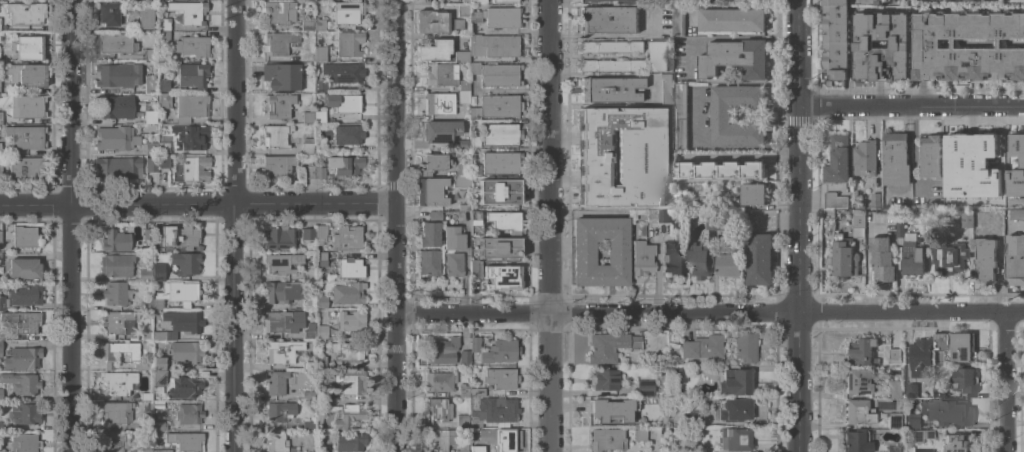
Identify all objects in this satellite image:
building: (504, 0)
building: (1009, 0)
building: (474, 1)
building: (463, 9)
building: (190, 11)
building: (279, 11)
building: (348, 11)
building: (26, 12)
building: (110, 13)
building: (498, 16)
building: (146, 17)
building: (609, 18)
building: (679, 19)
building: (732, 19)
building: (435, 21)
building: (164, 23)
building: (307, 23)
building: (320, 24)
building: (0, 27)
building: (164, 36)
building: (835, 39)
building: (114, 42)
building: (279, 42)
building: (349, 43)
building: (863, 43)
building: (192, 45)
building: (494, 45)
building: (967, 45)
building: (29, 46)
building: (611, 46)
building: (434, 49)
building: (321, 53)
building: (151, 54)
building: (658, 55)
building: (461, 56)
building: (735, 57)
building: (305, 58)
building: (613, 64)
building: (475, 67)
building: (343, 71)
building: (27, 74)
building: (119, 74)
building: (193, 74)
building: (442, 74)
building: (500, 74)
building: (282, 76)
building: (150, 83)
building: (164, 84)
building: (321, 85)
building: (666, 88)
building: (611, 89)
building: (463, 91)
building: (165, 100)
building: (343, 102)
building: (441, 102)
building: (27, 105)
building: (280, 105)
building: (500, 105)
road: (910, 105)
building: (115, 106)
building: (191, 107)
building: (475, 112)
building: (721, 114)
building: (680, 115)
building: (150, 116)
building: (320, 116)
building: (1, 117)
building: (309, 117)
building: (667, 117)
building: (587, 118)
building: (614, 118)
building: (442, 131)
building: (641, 132)
building: (501, 133)
building: (348, 134)
building: (276, 135)
building: (26, 136)
building: (190, 136)
building: (116, 137)
building: (475, 138)
building: (462, 143)
building: (307, 145)
building: (587, 145)
building: (614, 145)
building: (151, 147)
building: (164, 147)
road: (720, 147)
building: (0, 148)
building: (320, 148)
building: (1016, 155)
building: (929, 156)
building: (865, 157)
building: (896, 158)
building: (838, 160)
building: (955, 160)
building: (986, 160)
building: (164, 162)
building: (500, 162)
building: (433, 163)
building: (152, 164)
building: (742, 164)
building: (278, 165)
building: (119, 166)
building: (346, 166)
building: (600, 167)
building: (192, 168)
building: (28, 169)
building: (463, 169)
building: (475, 169)
building: (0, 170)
building: (308, 171)
building: (320, 172)
building: (460, 181)
building: (475, 181)
building: (637, 181)
building: (666, 182)
building: (500, 190)
building: (431, 191)
building: (753, 193)
building: (600, 195)
building: (989, 197)
building: (875, 198)
building: (834, 199)
building: (967, 199)
building: (708, 202)
road: (197, 203)
building: (464, 206)
building: (1017, 213)
building: (435, 215)
building: (653, 215)
building: (665, 215)
building: (967, 219)
building: (494, 220)
building: (979, 221)
building: (859, 222)
road: (70, 225)
road: (233, 225)
road: (395, 225)
road: (797, 225)
road: (548, 226)
building: (901, 227)
building: (148, 233)
building: (308, 233)
building: (320, 233)
building: (429, 233)
building: (186, 235)
building: (0, 236)
building: (25, 236)
building: (680, 236)
building: (280, 237)
building: (347, 237)
building: (116, 240)
building: (159, 245)
building: (501, 245)
building: (449, 251)
building: (584, 252)
building: (674, 256)
building: (845, 256)
building: (950, 256)
building: (0, 257)
building: (642, 257)
building: (320, 258)
building: (759, 258)
building: (883, 258)
building: (913, 258)
building: (730, 259)
building: (987, 259)
building: (699, 260)
building: (1015, 260)
building: (186, 262)
building: (281, 262)
building: (429, 262)
building: (116, 264)
building: (350, 267)
building: (24, 268)
building: (475, 268)
building: (308, 272)
building: (145, 274)
building: (159, 274)
building: (503, 276)
building: (281, 291)
building: (116, 292)
building: (348, 292)
building: (24, 293)
building: (176, 293)
building: (3, 301)
building: (321, 301)
building: (308, 302)
building: (146, 304)
road: (709, 311)
building: (22, 320)
building: (283, 320)
building: (351, 320)
building: (184, 321)
building: (118, 323)
building: (309, 330)
building: (321, 331)
building: (2, 333)
building: (164, 334)
building: (146, 335)
building: (474, 343)
building: (610, 345)
building: (745, 346)
building: (961, 346)
building: (1, 348)
building: (702, 348)
building: (187, 350)
building: (281, 350)
building: (348, 350)
building: (443, 350)
building: (500, 351)
building: (861, 351)
building: (107, 355)
building: (896, 355)
building: (464, 356)
building: (23, 357)
building: (321, 361)
building: (158, 363)
building: (143, 365)
building: (308, 365)
building: (918, 365)
building: (678, 372)
building: (159, 377)
building: (502, 377)
building: (604, 379)
building: (860, 379)
building: (965, 379)
building: (351, 381)
building: (440, 381)
building: (734, 381)
building: (21, 382)
building: (119, 382)
building: (276, 382)
road: (1004, 382)
building: (185, 386)
building: (645, 387)
building: (895, 388)
building: (464, 390)
building: (939, 390)
building: (476, 391)
building: (322, 393)
building: (1, 394)
building: (307, 394)
building: (147, 396)
building: (159, 403)
building: (439, 408)
building: (611, 409)
building: (735, 409)
building: (320, 410)
building: (495, 410)
building: (280, 411)
building: (858, 411)
building: (947, 411)
building: (116, 412)
building: (25, 413)
building: (189, 413)
building: (147, 414)
building: (349, 415)
building: (690, 418)
building: (463, 420)
building: (894, 420)
building: (912, 420)
building: (147, 424)
building: (307, 424)
building: (159, 425)
building: (1, 426)
building: (641, 434)
building: (921, 434)
building: (500, 438)
building: (736, 438)
building: (443, 439)
building: (607, 439)
building: (186, 440)
building: (857, 440)
building: (350, 441)
building: (114, 442)
building: (956, 442)
building: (23, 443)
building: (278, 443)
building: (463, 444)
building: (477, 448)
building: (2, 449)
building: (895, 449)
building: (146, 450)
building: (163, 450)
building: (310, 451)
building: (323, 451)

